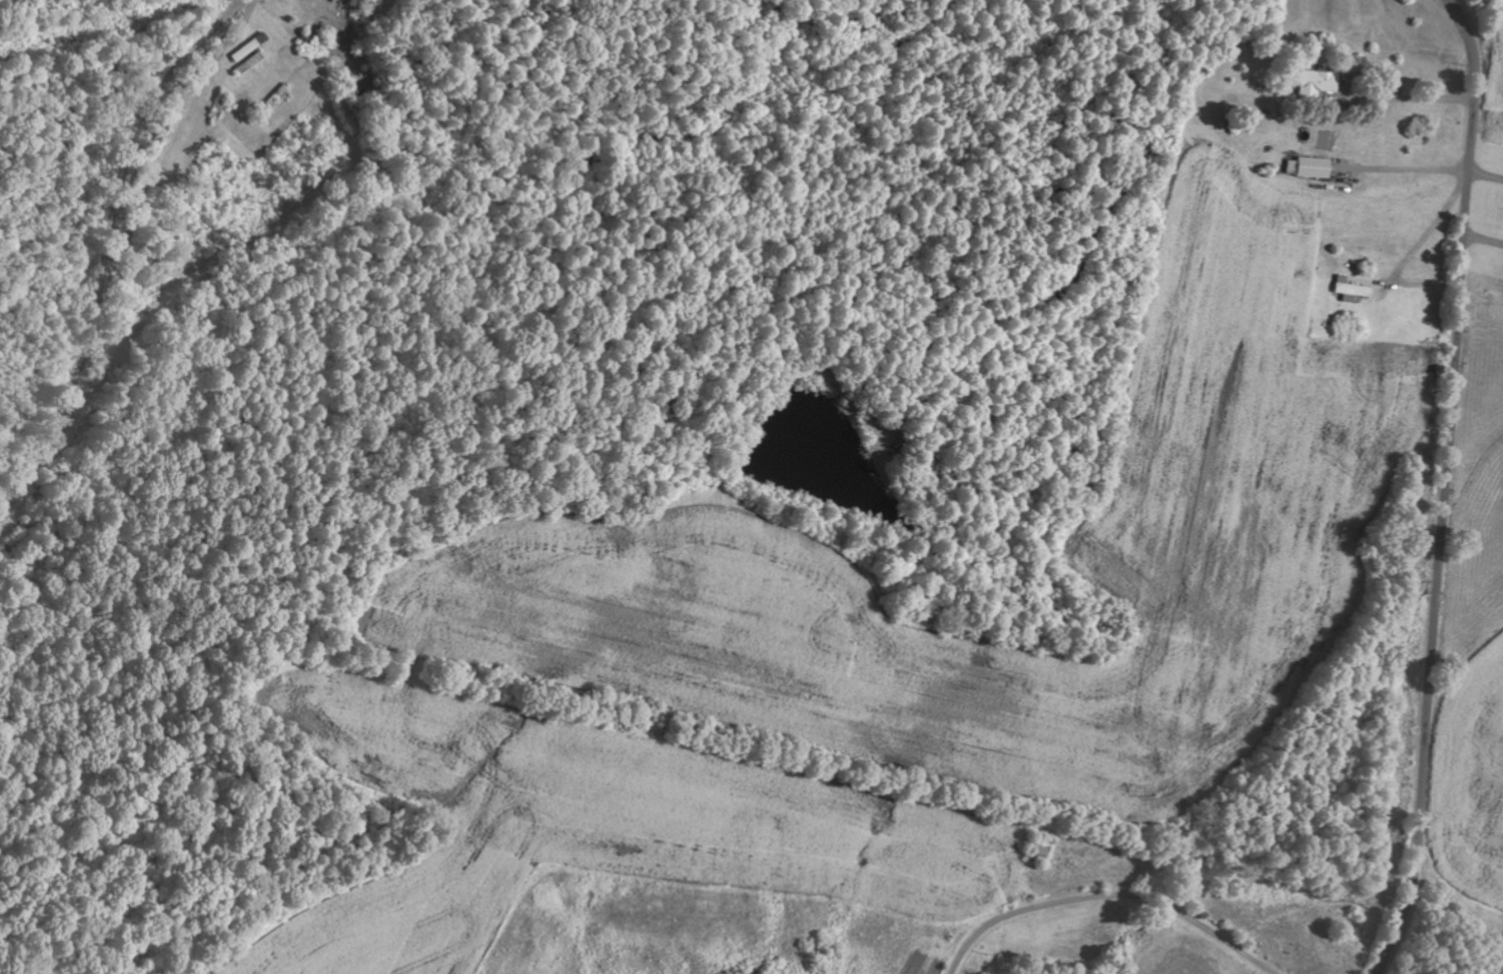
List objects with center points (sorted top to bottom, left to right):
road: (285, 105)
building: (1306, 167)
building: (1348, 288)
road: (1446, 488)
building: (1035, 852)

